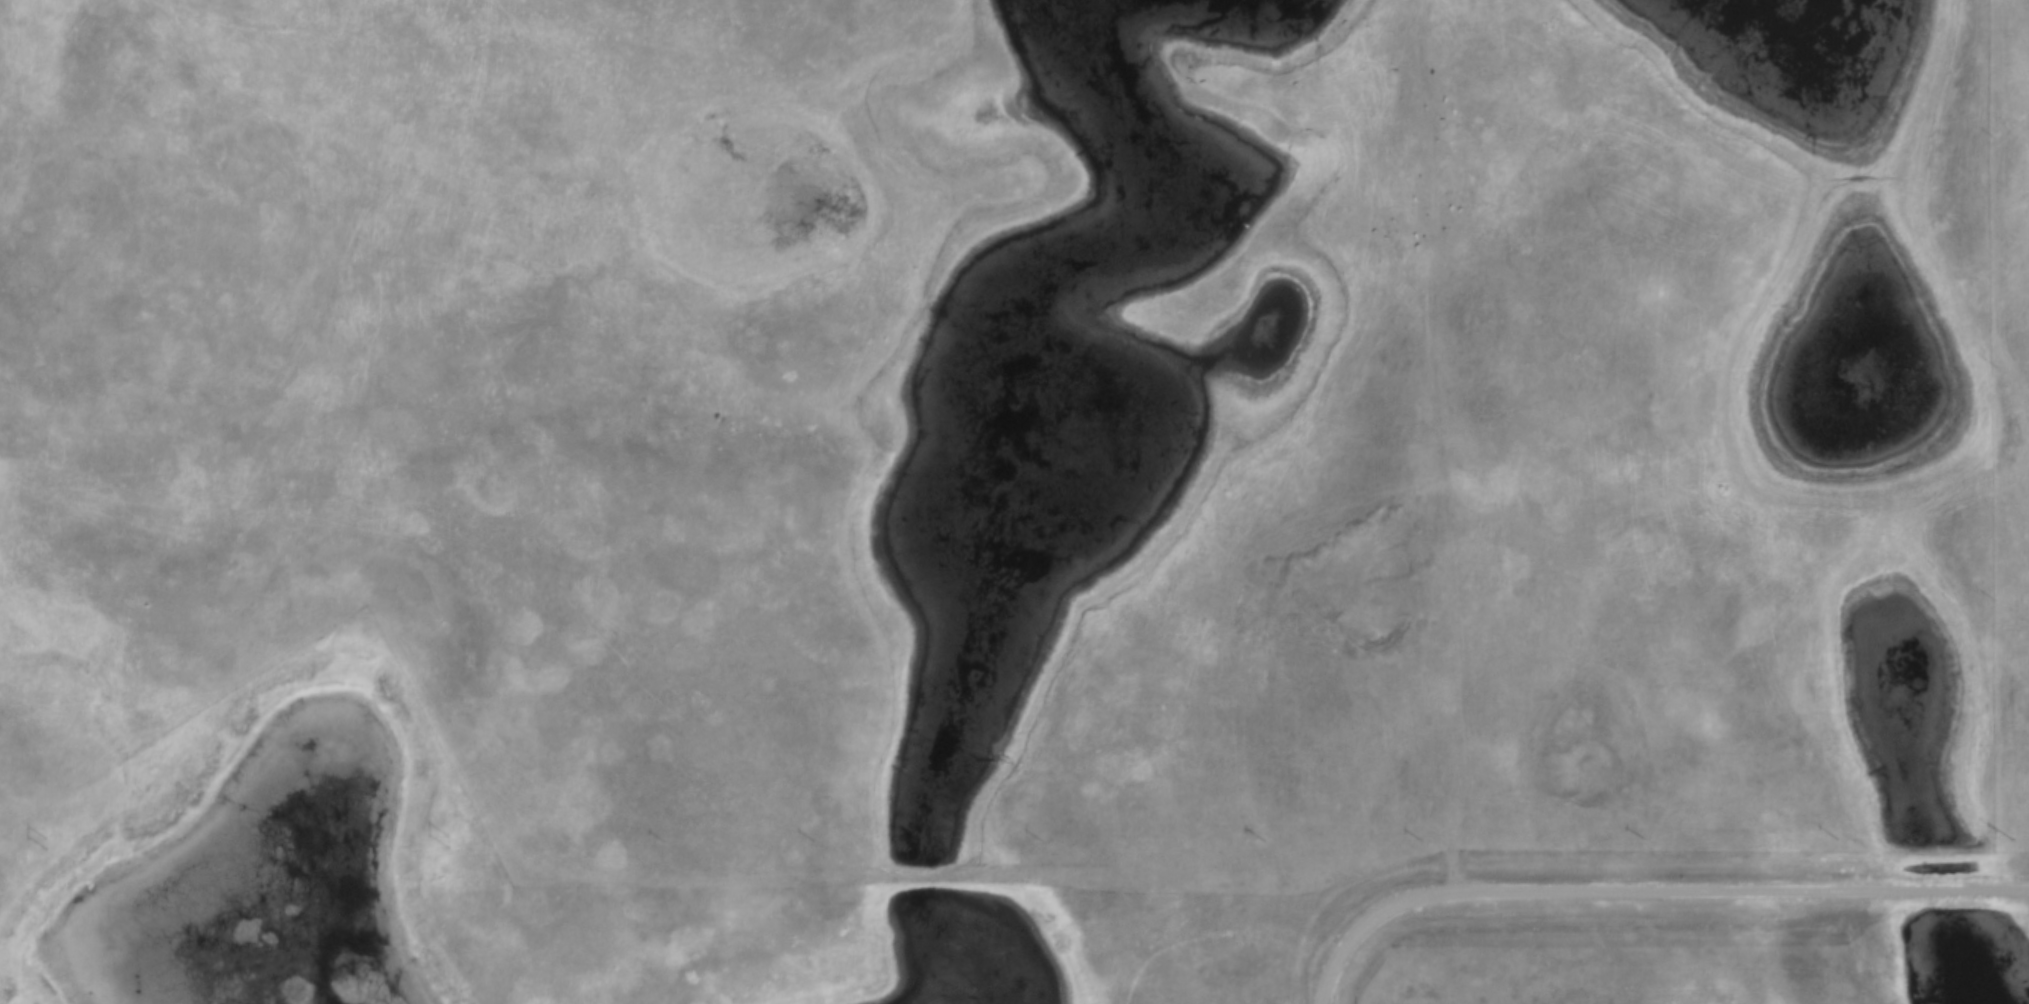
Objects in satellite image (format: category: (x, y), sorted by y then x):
road: (1437, 446)
road: (1742, 887)
road: (1366, 922)

